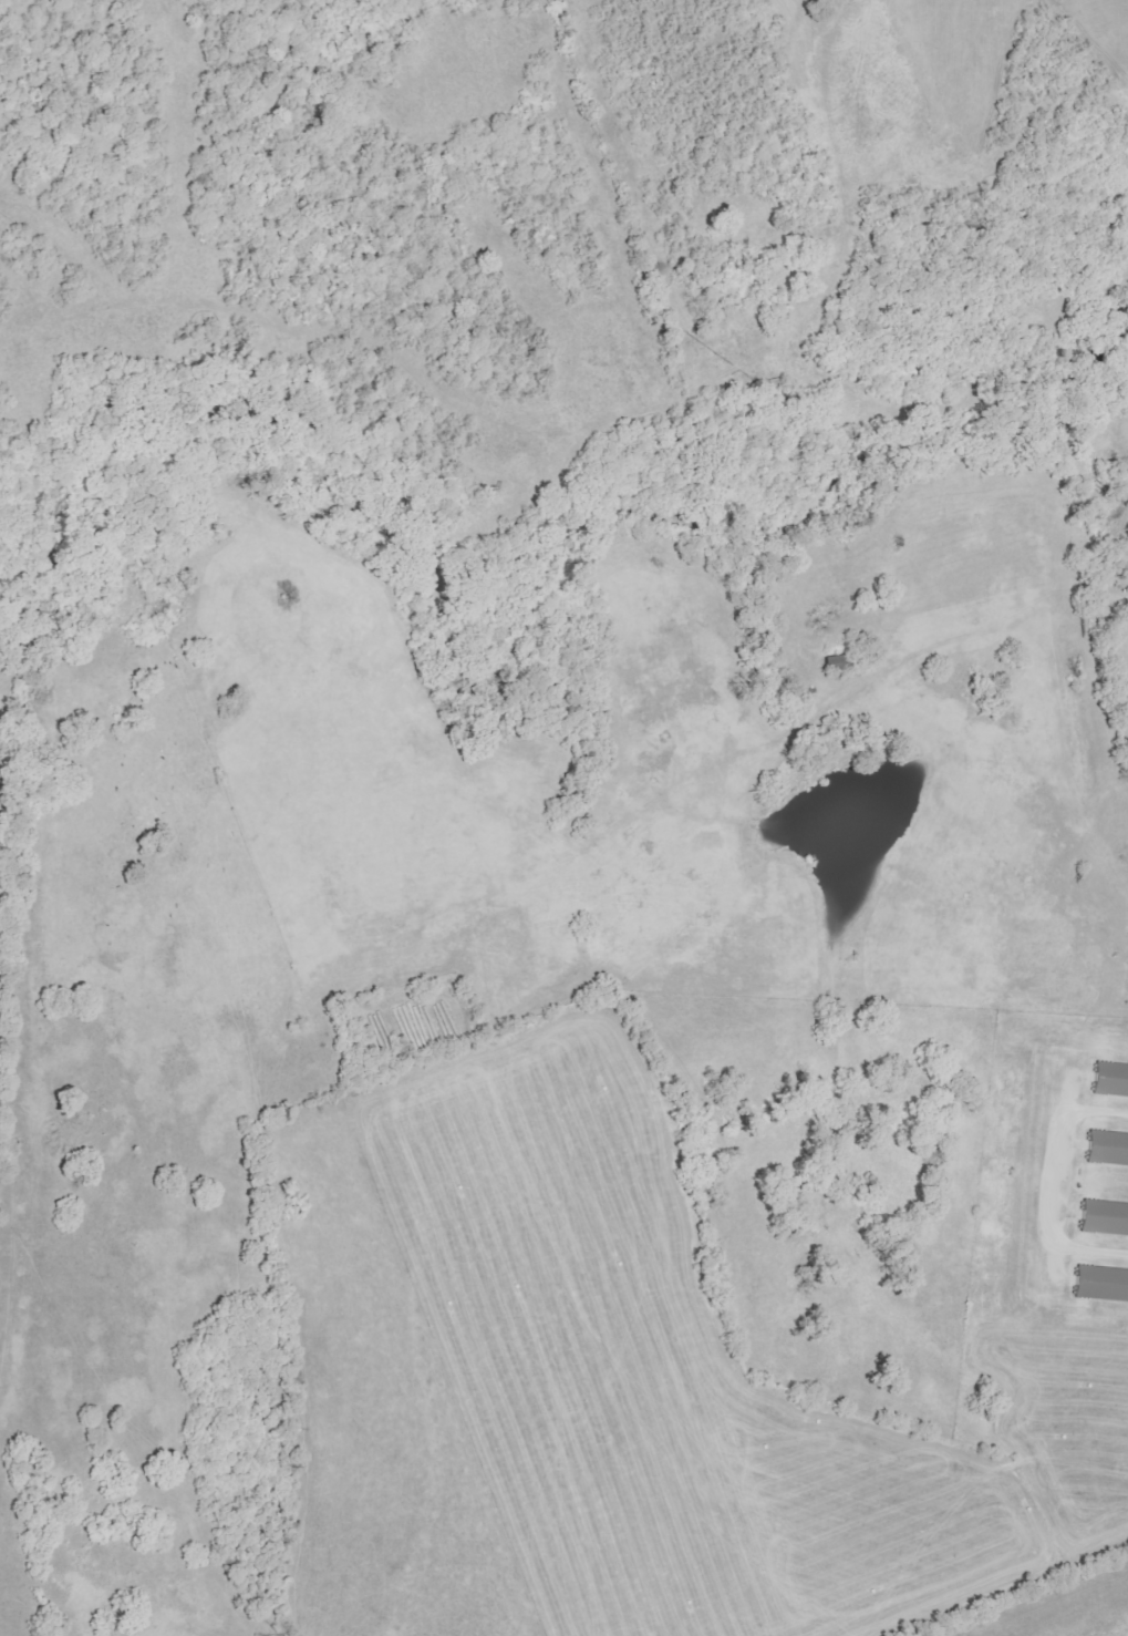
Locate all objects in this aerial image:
building: (1110, 1080)
building: (1107, 1149)
building: (1105, 1218)
building: (1101, 1284)

